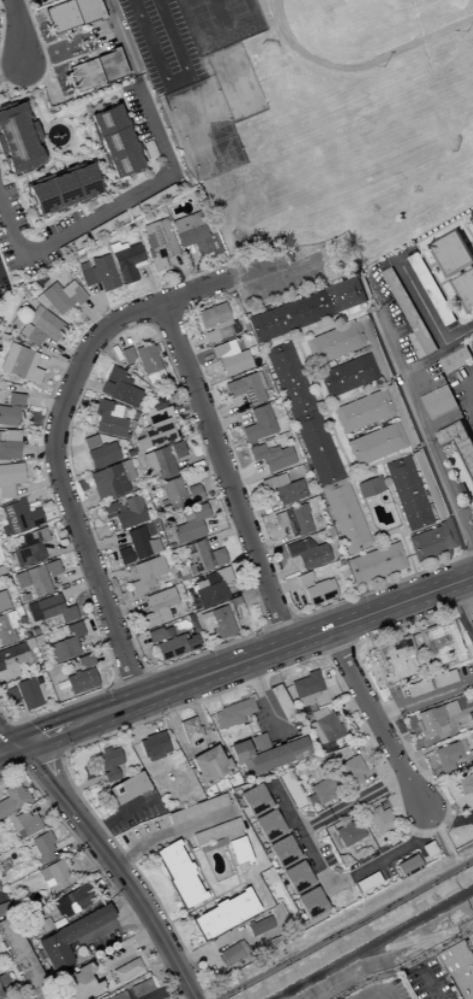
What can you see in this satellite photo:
building: (70, 13)
park: (218, 22)
track: (365, 25)
road: (16, 32)
road: (121, 35)
park: (159, 44)
road: (11, 69)
building: (95, 70)
building: (17, 140)
building: (114, 140)
park: (326, 144)
building: (61, 189)
road: (111, 210)
building: (131, 213)
building: (472, 218)
road: (467, 227)
building: (157, 243)
road: (471, 243)
building: (71, 247)
road: (422, 253)
building: (453, 254)
road: (344, 257)
building: (125, 261)
road: (434, 264)
building: (97, 273)
parking lot: (278, 274)
road: (456, 275)
building: (432, 289)
building: (464, 290)
building: (58, 297)
road: (454, 300)
road: (361, 308)
building: (307, 310)
road: (374, 312)
building: (410, 312)
road: (348, 313)
road: (429, 314)
road: (329, 319)
road: (345, 319)
building: (215, 320)
road: (316, 324)
building: (39, 326)
road: (317, 326)
road: (327, 328)
road: (298, 332)
road: (313, 332)
road: (117, 334)
road: (284, 336)
road: (196, 342)
building: (335, 342)
building: (418, 346)
road: (295, 347)
building: (375, 348)
building: (223, 349)
building: (126, 355)
road: (196, 359)
building: (147, 360)
building: (457, 360)
road: (426, 361)
building: (235, 362)
building: (19, 364)
building: (347, 375)
building: (289, 379)
building: (259, 380)
road: (307, 380)
road: (85, 382)
road: (368, 385)
building: (119, 387)
building: (232, 388)
building: (251, 388)
road: (356, 390)
road: (464, 391)
road: (350, 396)
road: (316, 398)
road: (63, 399)
road: (338, 399)
building: (439, 402)
road: (186, 405)
building: (362, 410)
road: (417, 410)
building: (10, 411)
road: (223, 412)
building: (402, 414)
building: (157, 415)
road: (323, 415)
building: (107, 417)
building: (262, 420)
road: (227, 421)
building: (249, 432)
building: (9, 435)
building: (155, 435)
road: (330, 435)
building: (0, 436)
building: (89, 441)
building: (458, 441)
building: (376, 443)
building: (317, 447)
road: (335, 447)
building: (177, 449)
building: (259, 450)
building: (8, 451)
road: (67, 452)
road: (446, 452)
road: (396, 453)
building: (102, 454)
road: (383, 457)
building: (277, 458)
road: (197, 461)
road: (345, 461)
building: (159, 462)
road: (376, 462)
road: (463, 462)
road: (343, 465)
road: (365, 465)
road: (203, 472)
road: (224, 472)
road: (360, 477)
building: (9, 479)
road: (247, 479)
building: (279, 479)
building: (111, 480)
building: (431, 484)
building: (369, 486)
building: (462, 489)
road: (254, 490)
building: (289, 491)
building: (407, 493)
building: (178, 494)
road: (392, 501)
road: (81, 505)
building: (306, 507)
building: (125, 511)
road: (364, 513)
building: (345, 516)
building: (17, 517)
road: (400, 517)
building: (293, 520)
road: (223, 522)
building: (190, 523)
road: (225, 532)
building: (329, 532)
road: (98, 533)
building: (435, 540)
road: (104, 541)
building: (141, 542)
road: (271, 542)
building: (307, 553)
building: (124, 555)
building: (202, 557)
road: (433, 561)
building: (375, 563)
building: (1, 571)
road: (115, 574)
building: (146, 574)
road: (282, 574)
road: (396, 575)
building: (303, 579)
building: (32, 580)
road: (383, 580)
road: (281, 586)
building: (212, 587)
road: (364, 587)
road: (378, 587)
building: (321, 590)
road: (254, 593)
building: (3, 601)
road: (124, 607)
building: (160, 607)
building: (49, 610)
road: (459, 613)
building: (471, 617)
building: (222, 618)
building: (6, 628)
road: (328, 630)
building: (156, 634)
road: (373, 634)
road: (247, 639)
building: (440, 642)
road: (131, 643)
building: (65, 644)
building: (175, 646)
road: (352, 646)
road: (336, 649)
road: (323, 655)
building: (397, 657)
road: (421, 658)
building: (12, 660)
road: (287, 662)
building: (81, 676)
building: (443, 678)
road: (405, 680)
building: (418, 686)
building: (305, 688)
building: (27, 694)
building: (9, 696)
road: (265, 699)
road: (423, 699)
building: (282, 703)
road: (126, 704)
building: (232, 713)
road: (132, 718)
road: (374, 718)
building: (470, 718)
building: (430, 721)
building: (189, 729)
road: (249, 729)
building: (325, 729)
road: (256, 732)
road: (41, 735)
building: (259, 743)
road: (417, 744)
traffic signals: (14, 745)
road: (96, 745)
road: (196, 745)
building: (154, 746)
road: (7, 747)
road: (63, 752)
road: (60, 754)
building: (266, 755)
building: (449, 755)
building: (470, 755)
road: (39, 760)
building: (109, 762)
building: (209, 765)
road: (19, 768)
road: (3, 769)
building: (352, 770)
road: (423, 775)
building: (464, 784)
road: (80, 786)
building: (127, 788)
building: (323, 789)
building: (290, 790)
building: (12, 798)
road: (363, 798)
building: (254, 800)
road: (444, 802)
road: (42, 805)
building: (197, 809)
road: (122, 815)
road: (463, 818)
building: (379, 819)
building: (23, 824)
building: (267, 826)
building: (216, 831)
road: (171, 833)
building: (348, 834)
road: (232, 836)
road: (223, 842)
road: (70, 843)
road: (211, 843)
building: (212, 845)
building: (41, 847)
road: (194, 850)
building: (238, 850)
road: (185, 852)
building: (281, 852)
road: (106, 857)
road: (85, 859)
road: (197, 864)
building: (407, 865)
road: (99, 872)
building: (54, 874)
building: (177, 874)
building: (295, 877)
road: (199, 881)
road: (341, 881)
road: (230, 892)
road: (221, 893)
road: (1, 896)
building: (72, 900)
building: (310, 903)
building: (4, 908)
road: (202, 908)
building: (223, 914)
road: (109, 924)
building: (259, 925)
road: (343, 929)
building: (69, 936)
road: (210, 946)
building: (232, 952)
road: (127, 954)
building: (22, 960)
building: (441, 961)
road: (405, 966)
building: (461, 967)
building: (126, 969)
building: (3, 978)
road: (429, 979)
building: (79, 984)
building: (140, 988)
road: (165, 989)
road: (381, 991)
building: (1, 995)
building: (118, 996)

